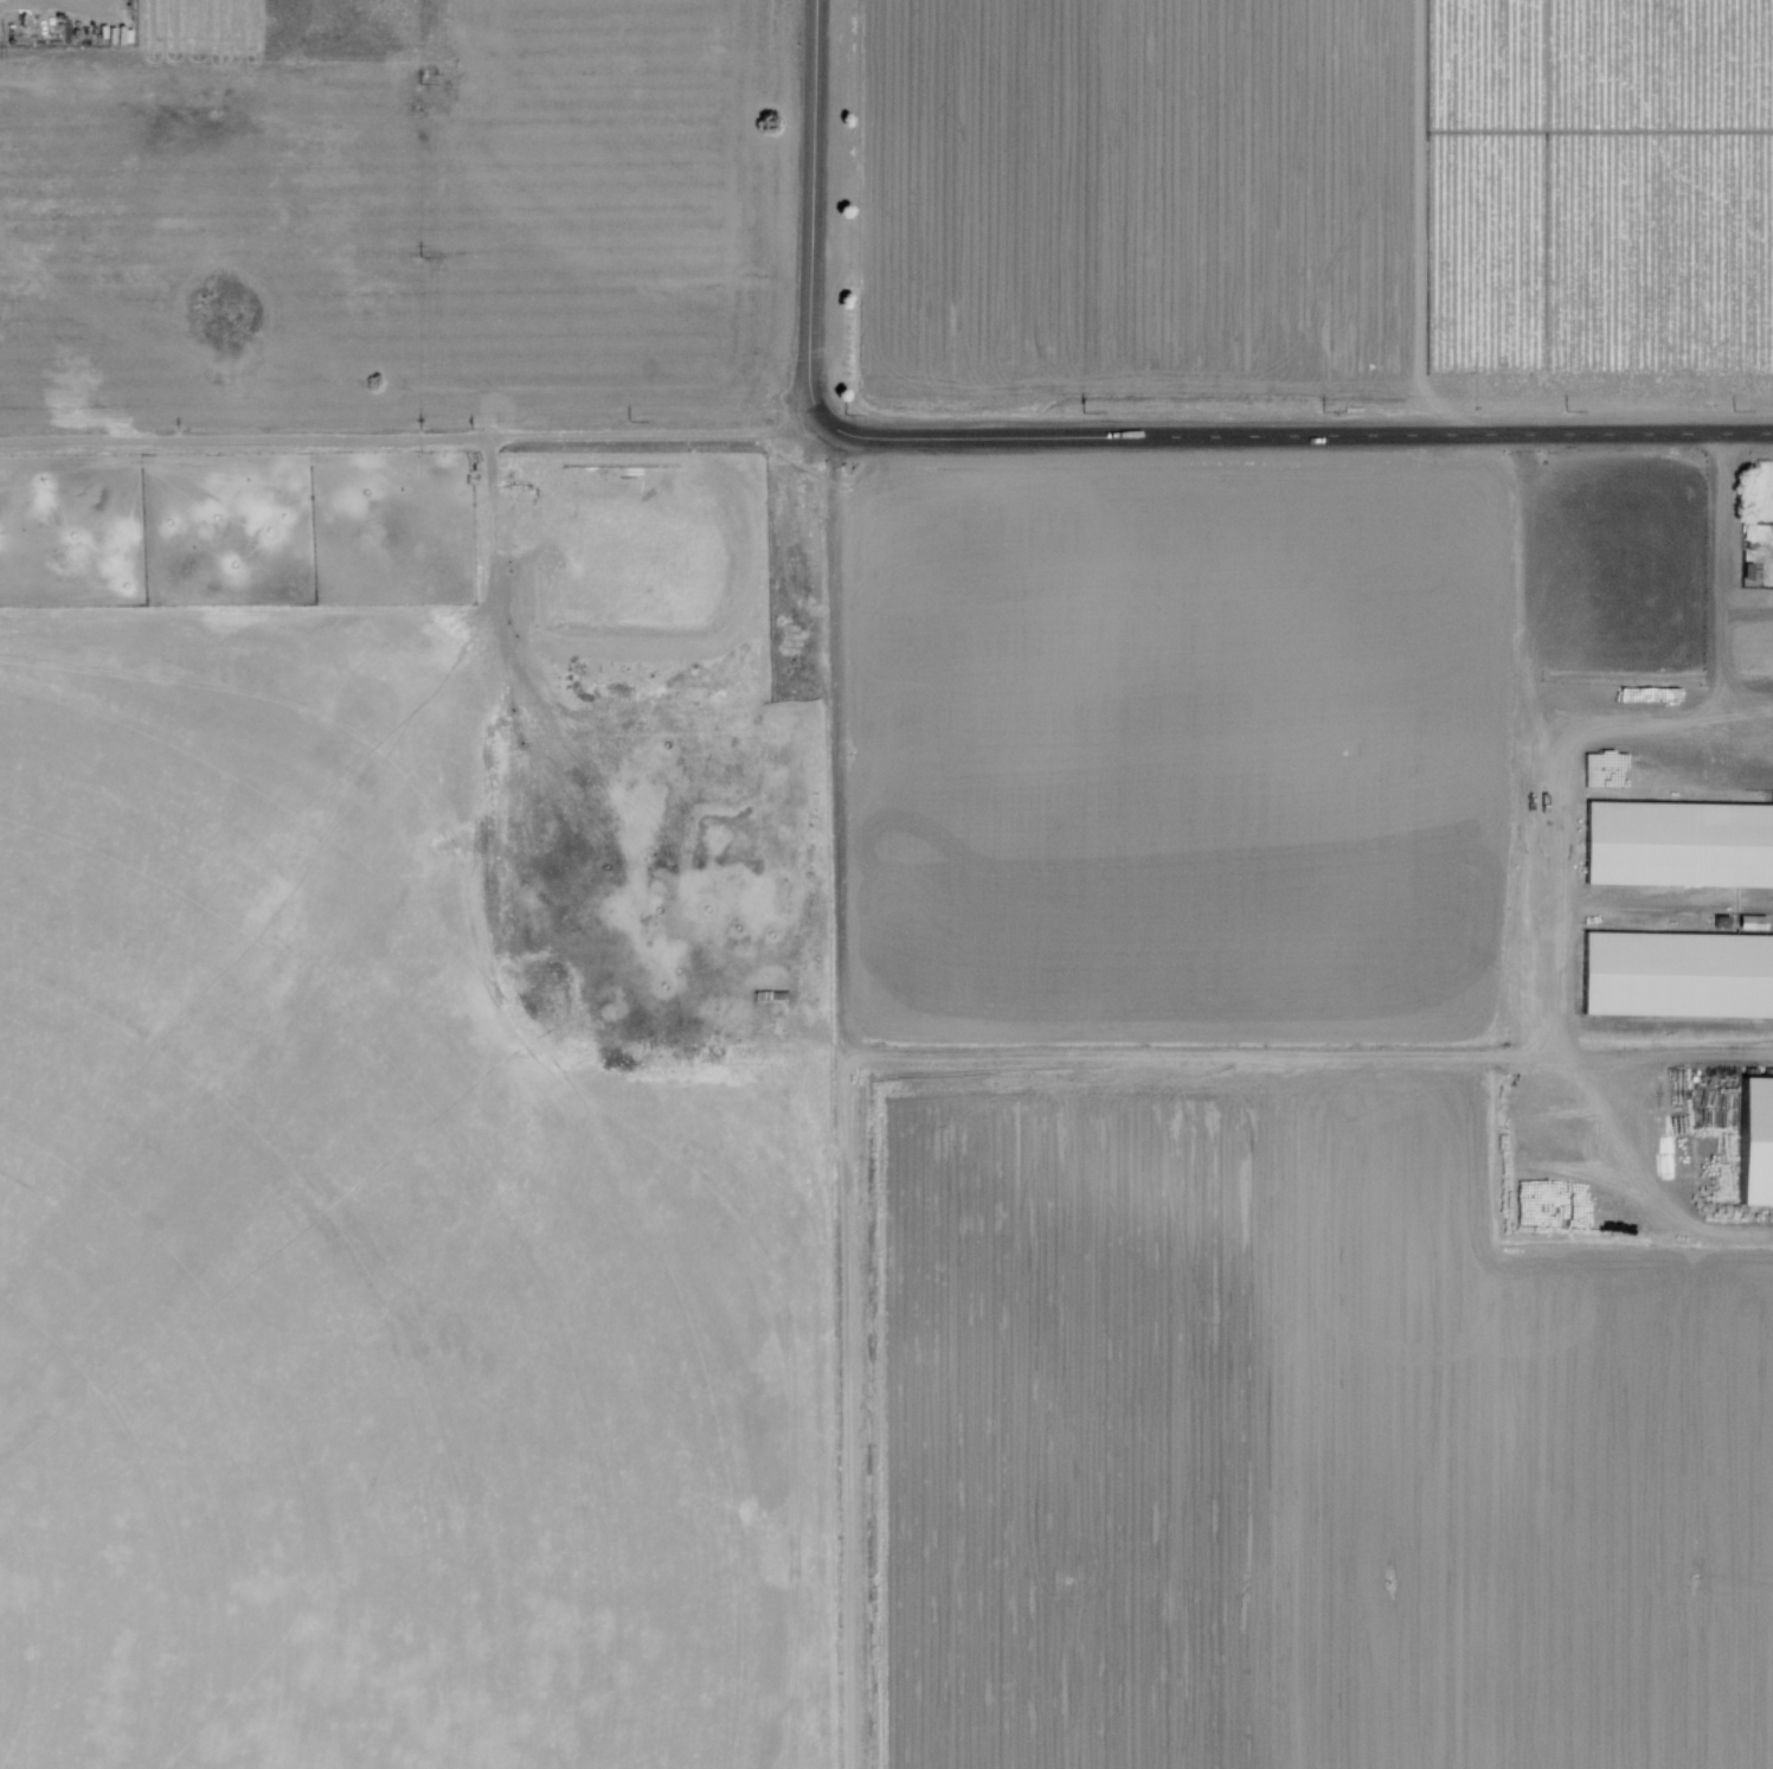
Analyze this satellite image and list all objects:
road: (816, 222)
road: (1296, 441)
road: (409, 446)
road: (1723, 546)
building: (1679, 844)
building: (1674, 974)
building: (1754, 1142)

